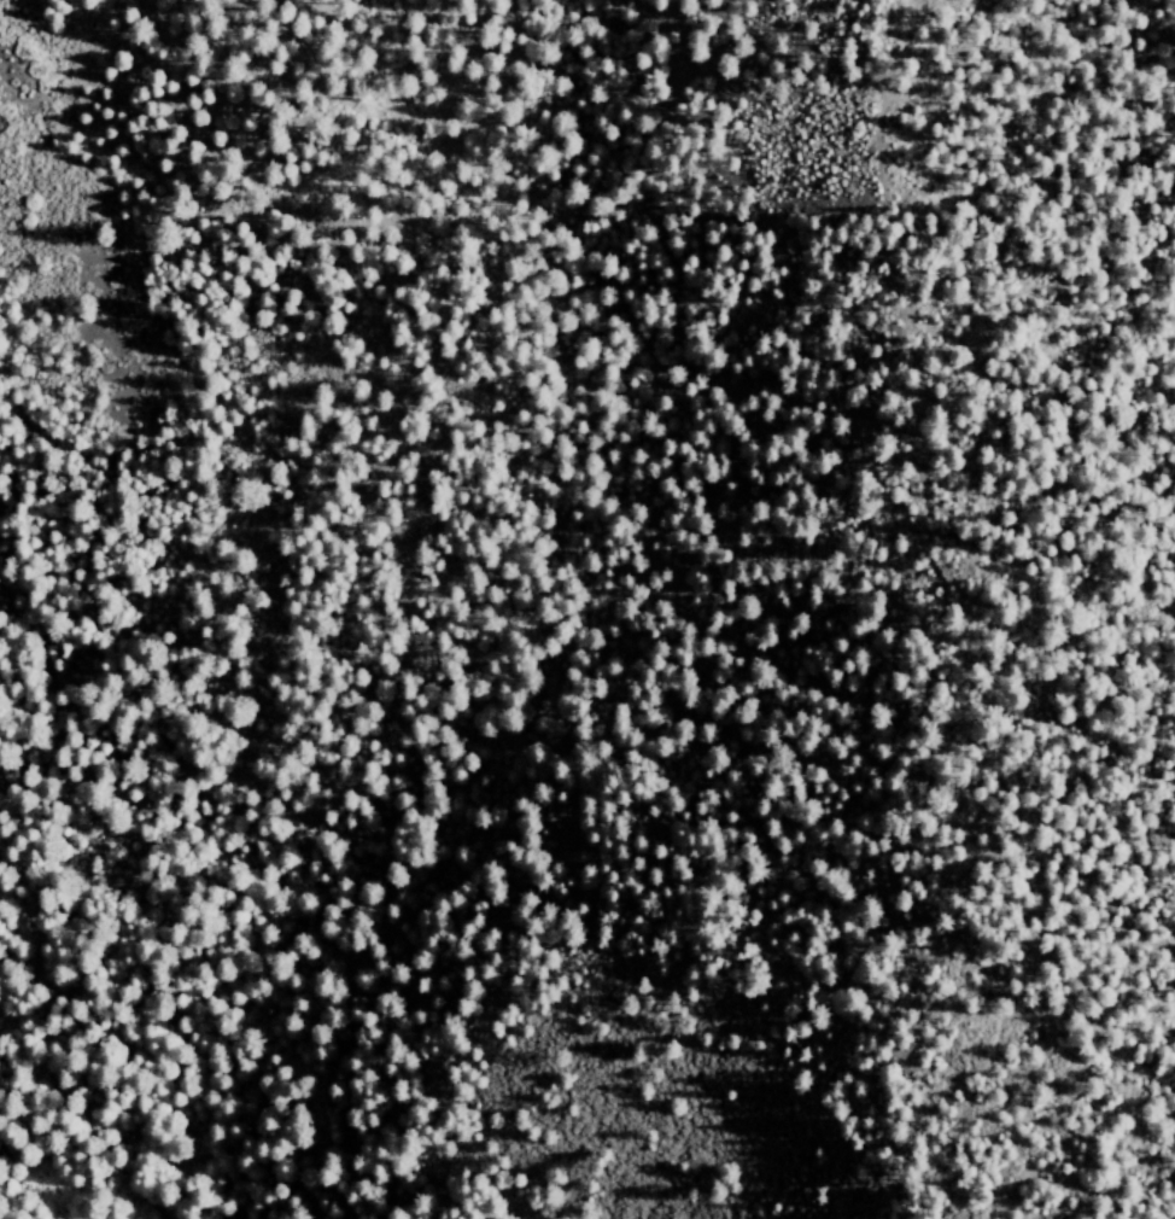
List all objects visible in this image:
road: (844, 95)

